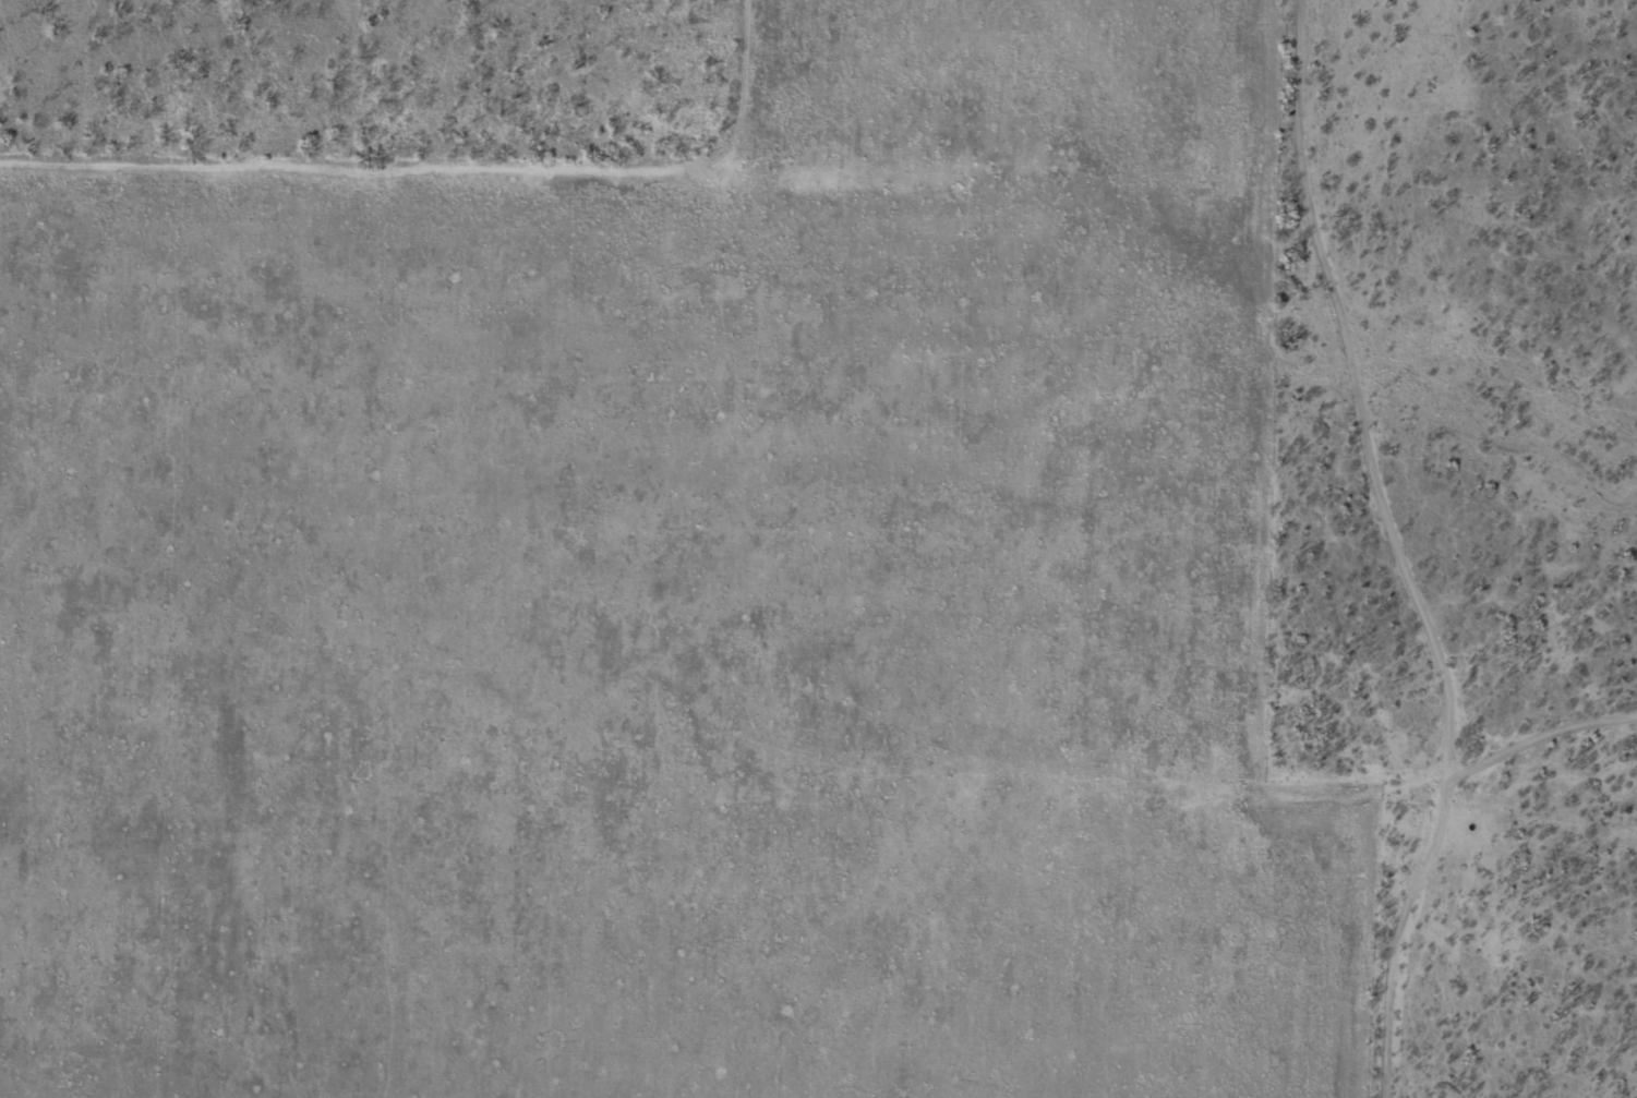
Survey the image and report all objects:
road: (1375, 551)
road: (1534, 737)

